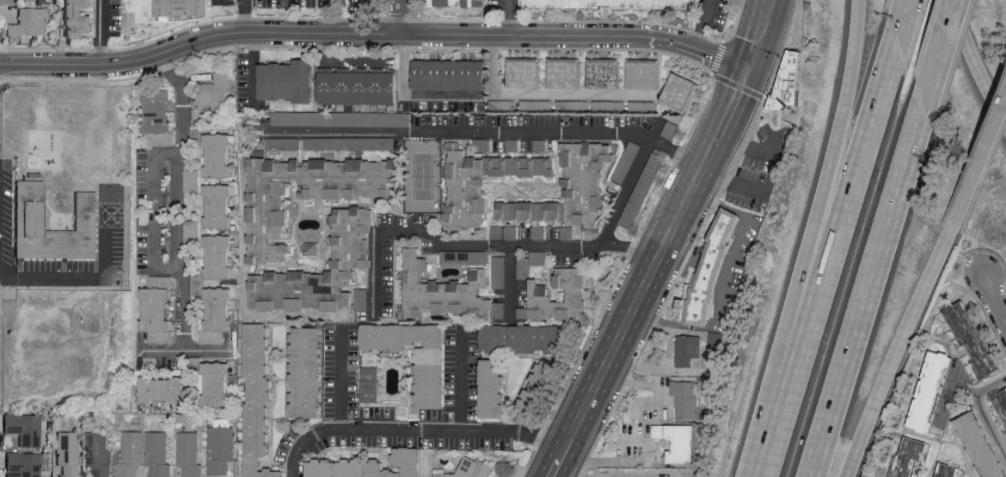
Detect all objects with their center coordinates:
road: (218, 2)
building: (459, 2)
building: (615, 4)
road: (364, 6)
building: (184, 7)
road: (328, 16)
road: (401, 17)
road: (507, 17)
building: (79, 18)
building: (29, 22)
road: (705, 24)
road: (101, 32)
road: (375, 33)
road: (906, 33)
road: (758, 36)
road: (948, 49)
road: (970, 65)
road: (253, 66)
building: (527, 73)
building: (567, 73)
building: (607, 73)
building: (647, 74)
building: (452, 75)
building: (289, 81)
building: (359, 85)
building: (784, 89)
building: (214, 90)
building: (682, 92)
road: (413, 93)
road: (543, 93)
road: (731, 109)
building: (158, 117)
building: (341, 118)
road: (448, 134)
building: (350, 143)
building: (482, 144)
building: (512, 144)
building: (540, 145)
road: (758, 150)
building: (219, 154)
road: (711, 155)
road: (981, 160)
road: (838, 161)
building: (190, 180)
road: (732, 180)
building: (485, 182)
road: (628, 185)
building: (570, 188)
building: (305, 193)
road: (851, 194)
building: (219, 205)
road: (154, 209)
parking lot: (5, 212)
building: (28, 213)
road: (177, 219)
building: (504, 231)
building: (567, 232)
road: (444, 247)
building: (219, 256)
building: (464, 256)
building: (538, 257)
building: (523, 267)
building: (325, 271)
building: (498, 272)
building: (715, 274)
road: (38, 282)
road: (509, 286)
road: (876, 287)
building: (449, 292)
building: (541, 293)
road: (640, 298)
road: (995, 301)
building: (158, 309)
building: (217, 314)
building: (527, 337)
building: (974, 337)
road: (900, 349)
road: (206, 352)
building: (688, 353)
building: (308, 371)
building: (432, 378)
road: (340, 379)
road: (461, 380)
building: (218, 383)
building: (370, 383)
road: (656, 385)
building: (493, 387)
building: (163, 388)
building: (542, 388)
building: (934, 391)
road: (949, 391)
building: (686, 398)
road: (782, 399)
building: (1002, 400)
building: (260, 401)
road: (979, 415)
building: (24, 427)
road: (418, 432)
building: (680, 440)
building: (983, 444)
road: (567, 448)
building: (220, 449)
building: (68, 452)
building: (156, 453)
building: (97, 454)
building: (129, 454)
building: (189, 454)
building: (913, 457)
road: (635, 461)
building: (27, 463)
building: (368, 465)
building: (467, 469)
road: (556, 469)
building: (949, 470)

